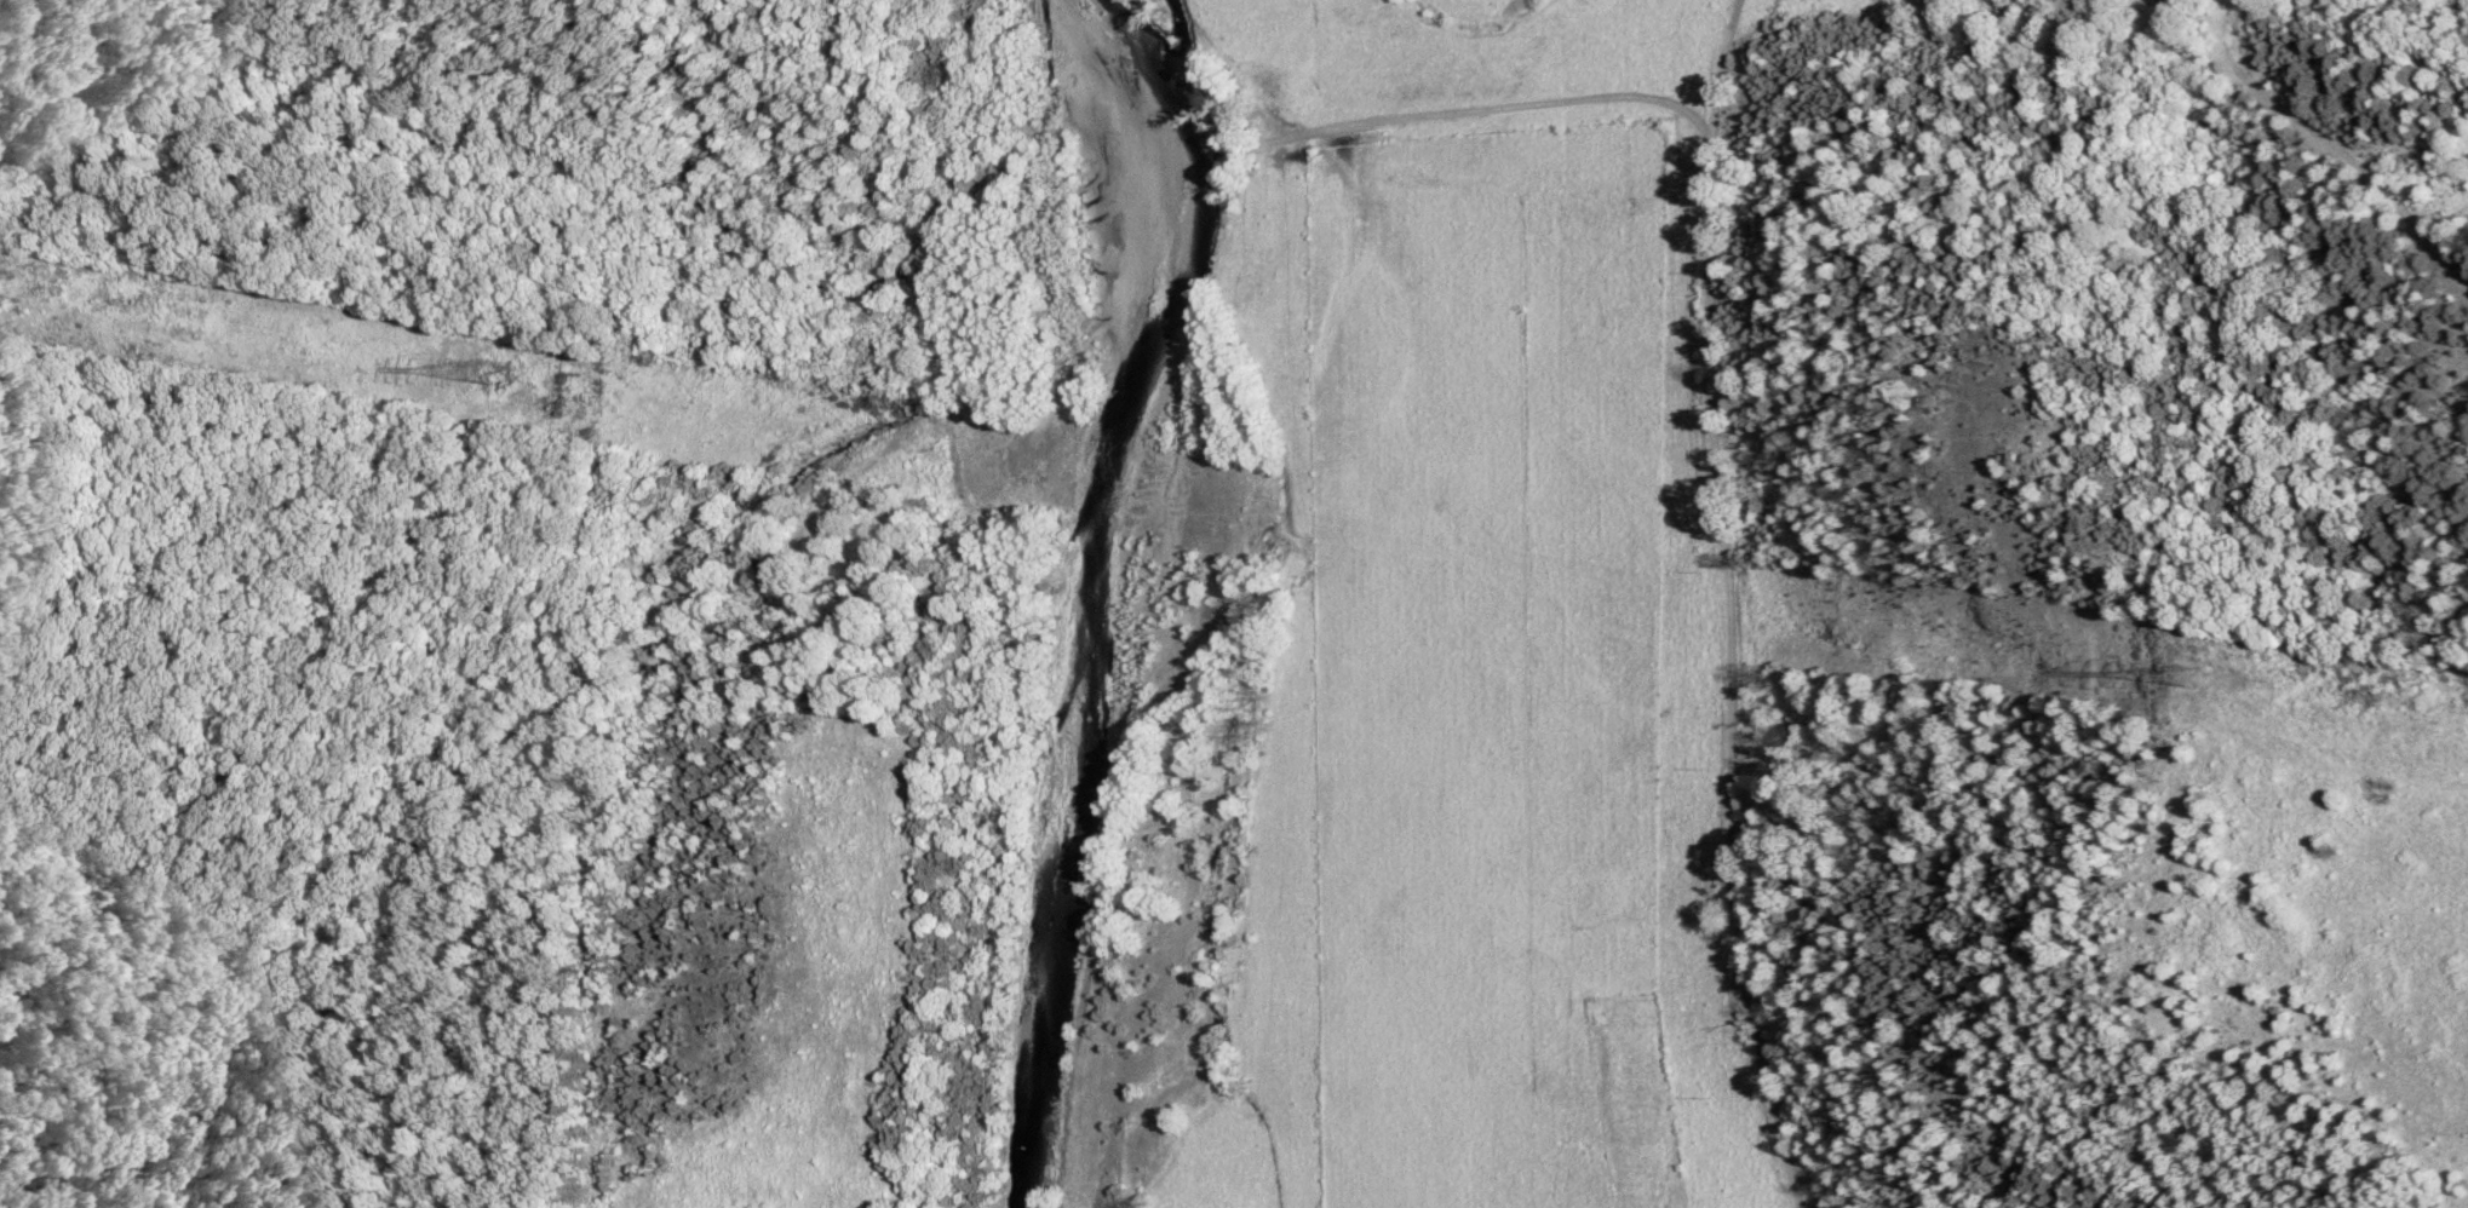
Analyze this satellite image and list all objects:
road: (1428, 117)
road: (1744, 605)

